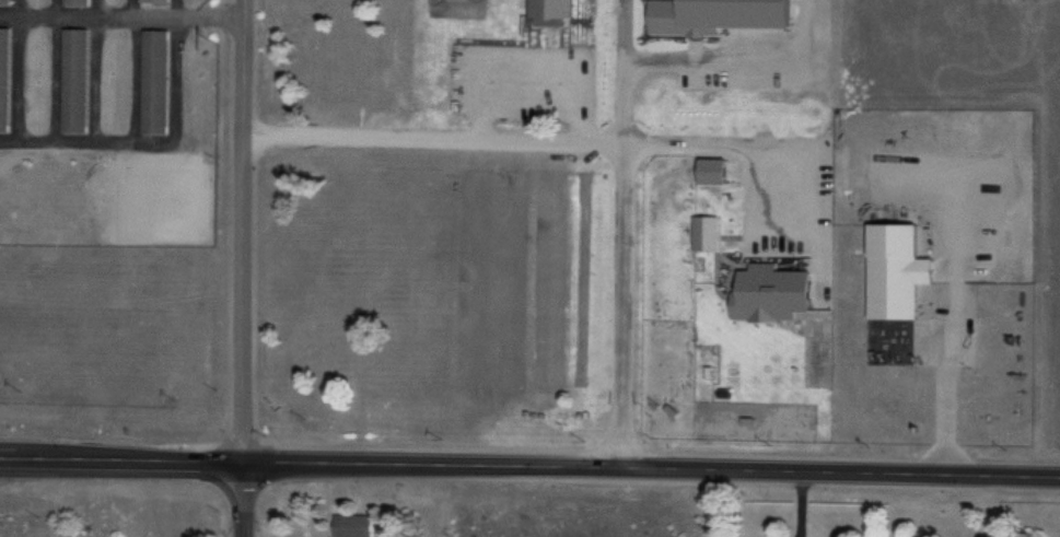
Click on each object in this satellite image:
building: (4, 4)
building: (75, 4)
road: (625, 34)
road: (742, 66)
building: (4, 82)
building: (74, 83)
building: (155, 84)
road: (526, 148)
road: (243, 232)
road: (621, 271)
building: (898, 273)
road: (529, 471)
road: (243, 501)
building: (353, 526)

